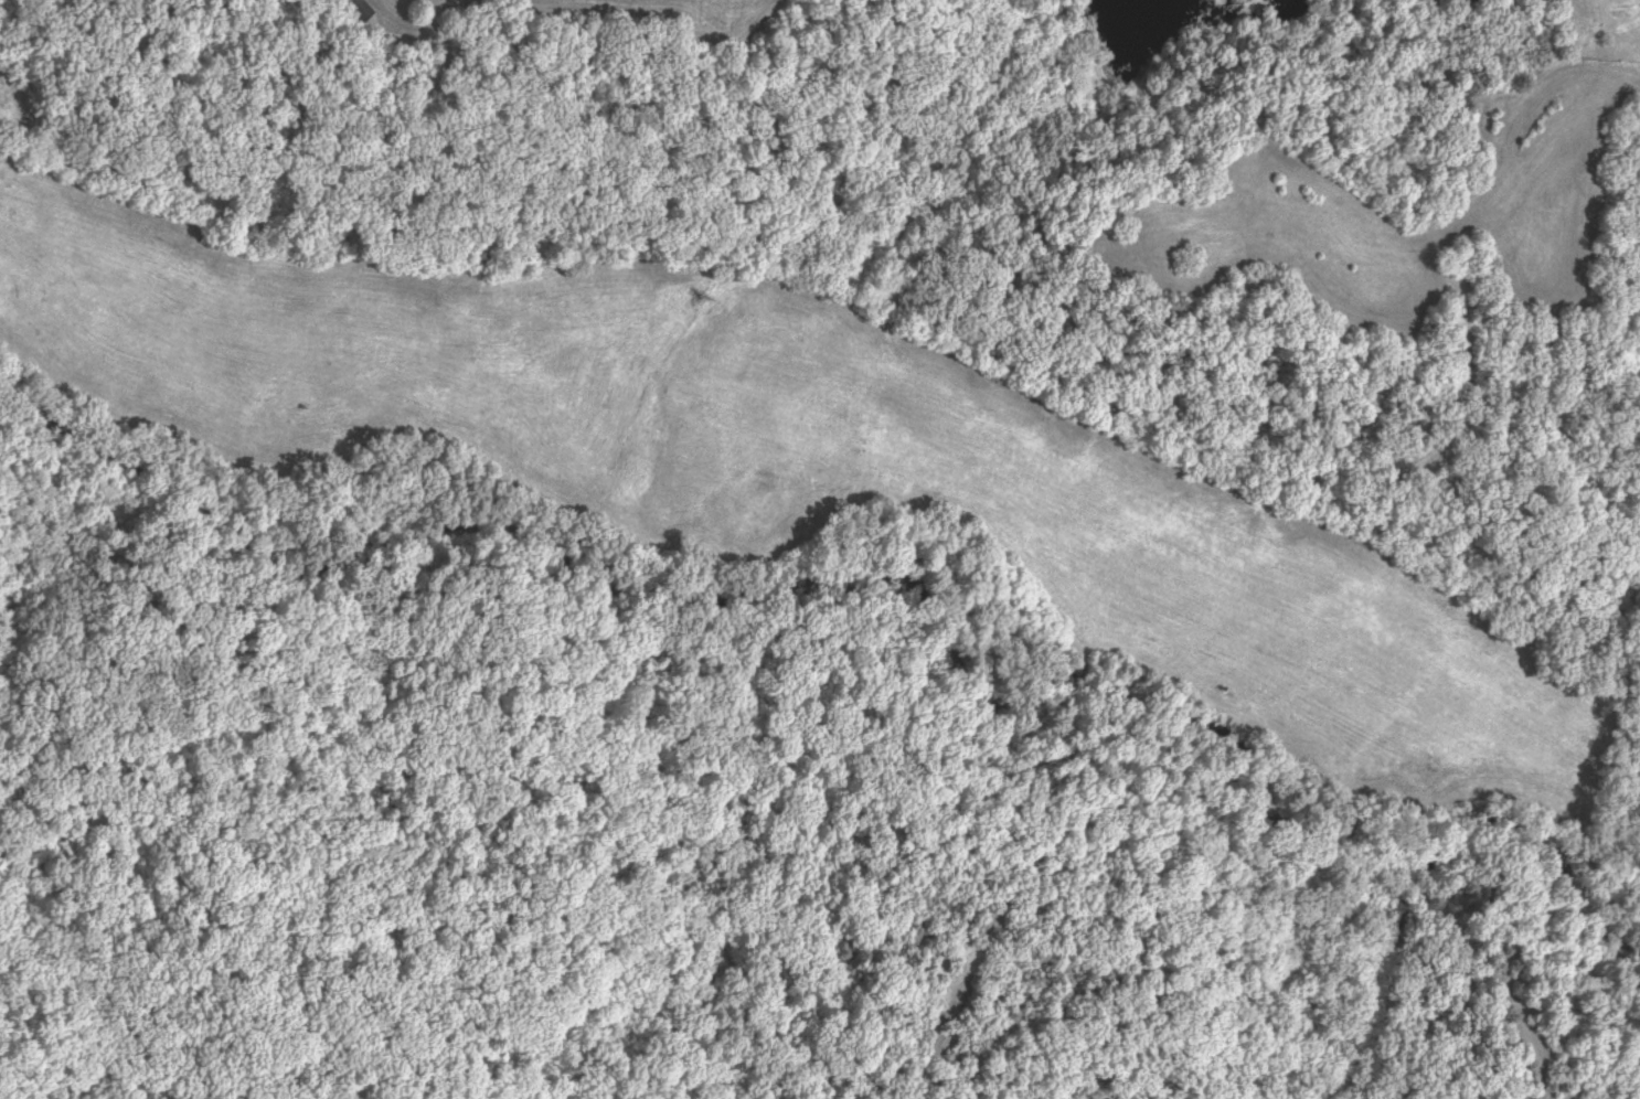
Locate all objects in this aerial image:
road: (413, 17)

